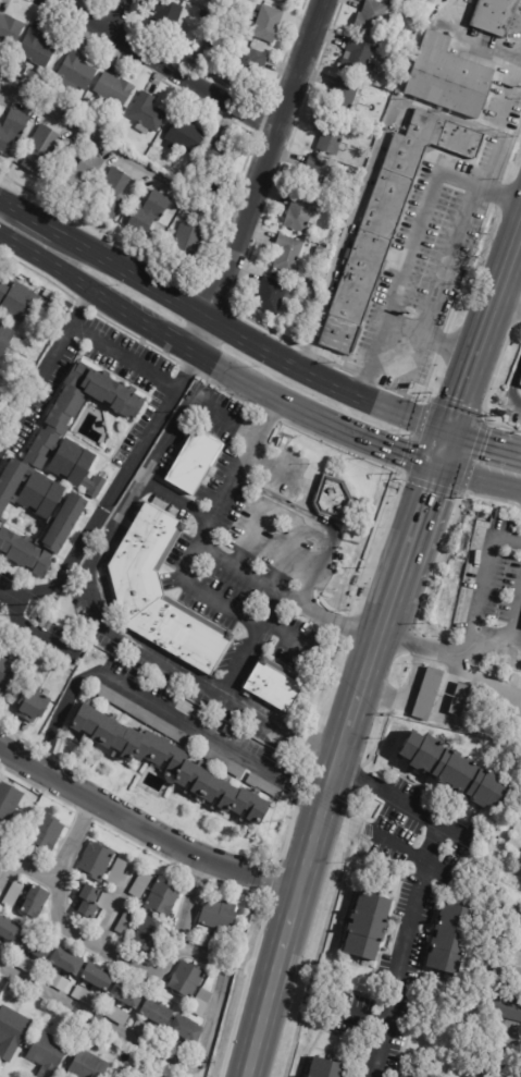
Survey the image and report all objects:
building: (398, 0)
building: (283, 1)
building: (203, 15)
road: (117, 16)
building: (494, 16)
building: (374, 17)
building: (168, 19)
building: (269, 25)
building: (10, 30)
road: (470, 41)
building: (213, 44)
building: (37, 50)
road: (519, 51)
building: (359, 59)
building: (394, 63)
road: (165, 65)
building: (249, 66)
building: (77, 71)
building: (448, 78)
building: (114, 89)
building: (374, 95)
building: (344, 97)
building: (148, 113)
building: (12, 131)
building: (186, 135)
building: (332, 136)
building: (41, 151)
building: (220, 155)
road: (120, 156)
road: (374, 159)
building: (82, 175)
road: (259, 175)
building: (318, 175)
building: (113, 195)
road: (0, 200)
road: (0, 201)
building: (149, 215)
building: (186, 216)
building: (301, 216)
road: (28, 217)
building: (387, 220)
road: (413, 242)
building: (186, 243)
building: (321, 253)
building: (288, 255)
road: (451, 265)
building: (50, 295)
building: (280, 297)
building: (16, 301)
road: (509, 303)
building: (67, 304)
building: (54, 320)
road: (157, 330)
road: (484, 332)
building: (5, 336)
road: (430, 341)
road: (247, 342)
road: (123, 359)
road: (45, 372)
building: (520, 382)
road: (512, 384)
traffic signals: (448, 435)
road: (376, 443)
road: (484, 443)
road: (443, 450)
road: (243, 462)
building: (195, 463)
traffic signals: (437, 466)
building: (60, 469)
road: (479, 477)
road: (119, 481)
road: (148, 485)
building: (333, 499)
road: (321, 522)
road: (413, 534)
road: (235, 567)
road: (12, 589)
building: (161, 593)
road: (272, 595)
building: (108, 597)
power tower: (29, 608)
road: (513, 611)
road: (473, 617)
road: (338, 622)
building: (42, 623)
road: (488, 638)
road: (296, 641)
road: (513, 644)
railway: (379, 658)
road: (369, 665)
building: (9, 675)
building: (274, 684)
road: (406, 689)
building: (431, 694)
road: (139, 696)
building: (459, 697)
building: (35, 705)
road: (278, 725)
building: (170, 731)
building: (231, 732)
building: (169, 763)
building: (456, 771)
building: (264, 785)
road: (305, 785)
road: (299, 797)
building: (9, 798)
road: (145, 829)
building: (47, 831)
building: (0, 834)
building: (26, 849)
building: (96, 859)
road: (54, 864)
building: (117, 871)
building: (141, 884)
building: (14, 893)
road: (413, 893)
building: (163, 896)
building: (35, 899)
building: (89, 901)
road: (294, 903)
building: (511, 913)
building: (220, 914)
building: (127, 921)
building: (368, 926)
building: (10, 930)
building: (152, 934)
building: (450, 938)
building: (210, 941)
building: (37, 946)
road: (100, 946)
building: (4, 950)
building: (67, 962)
building: (26, 963)
building: (508, 975)
building: (97, 978)
building: (55, 979)
building: (187, 979)
building: (86, 995)
building: (127, 995)
building: (202, 1001)
building: (506, 1008)
building: (115, 1013)
building: (157, 1014)
building: (147, 1030)
building: (186, 1030)
building: (11, 1031)
building: (109, 1040)
building: (176, 1047)
road: (200, 1052)
building: (48, 1053)
building: (147, 1064)
building: (88, 1065)
building: (325, 1068)
building: (493, 1069)
building: (117, 1076)
building: (399, 1076)
building: (402, 1076)

